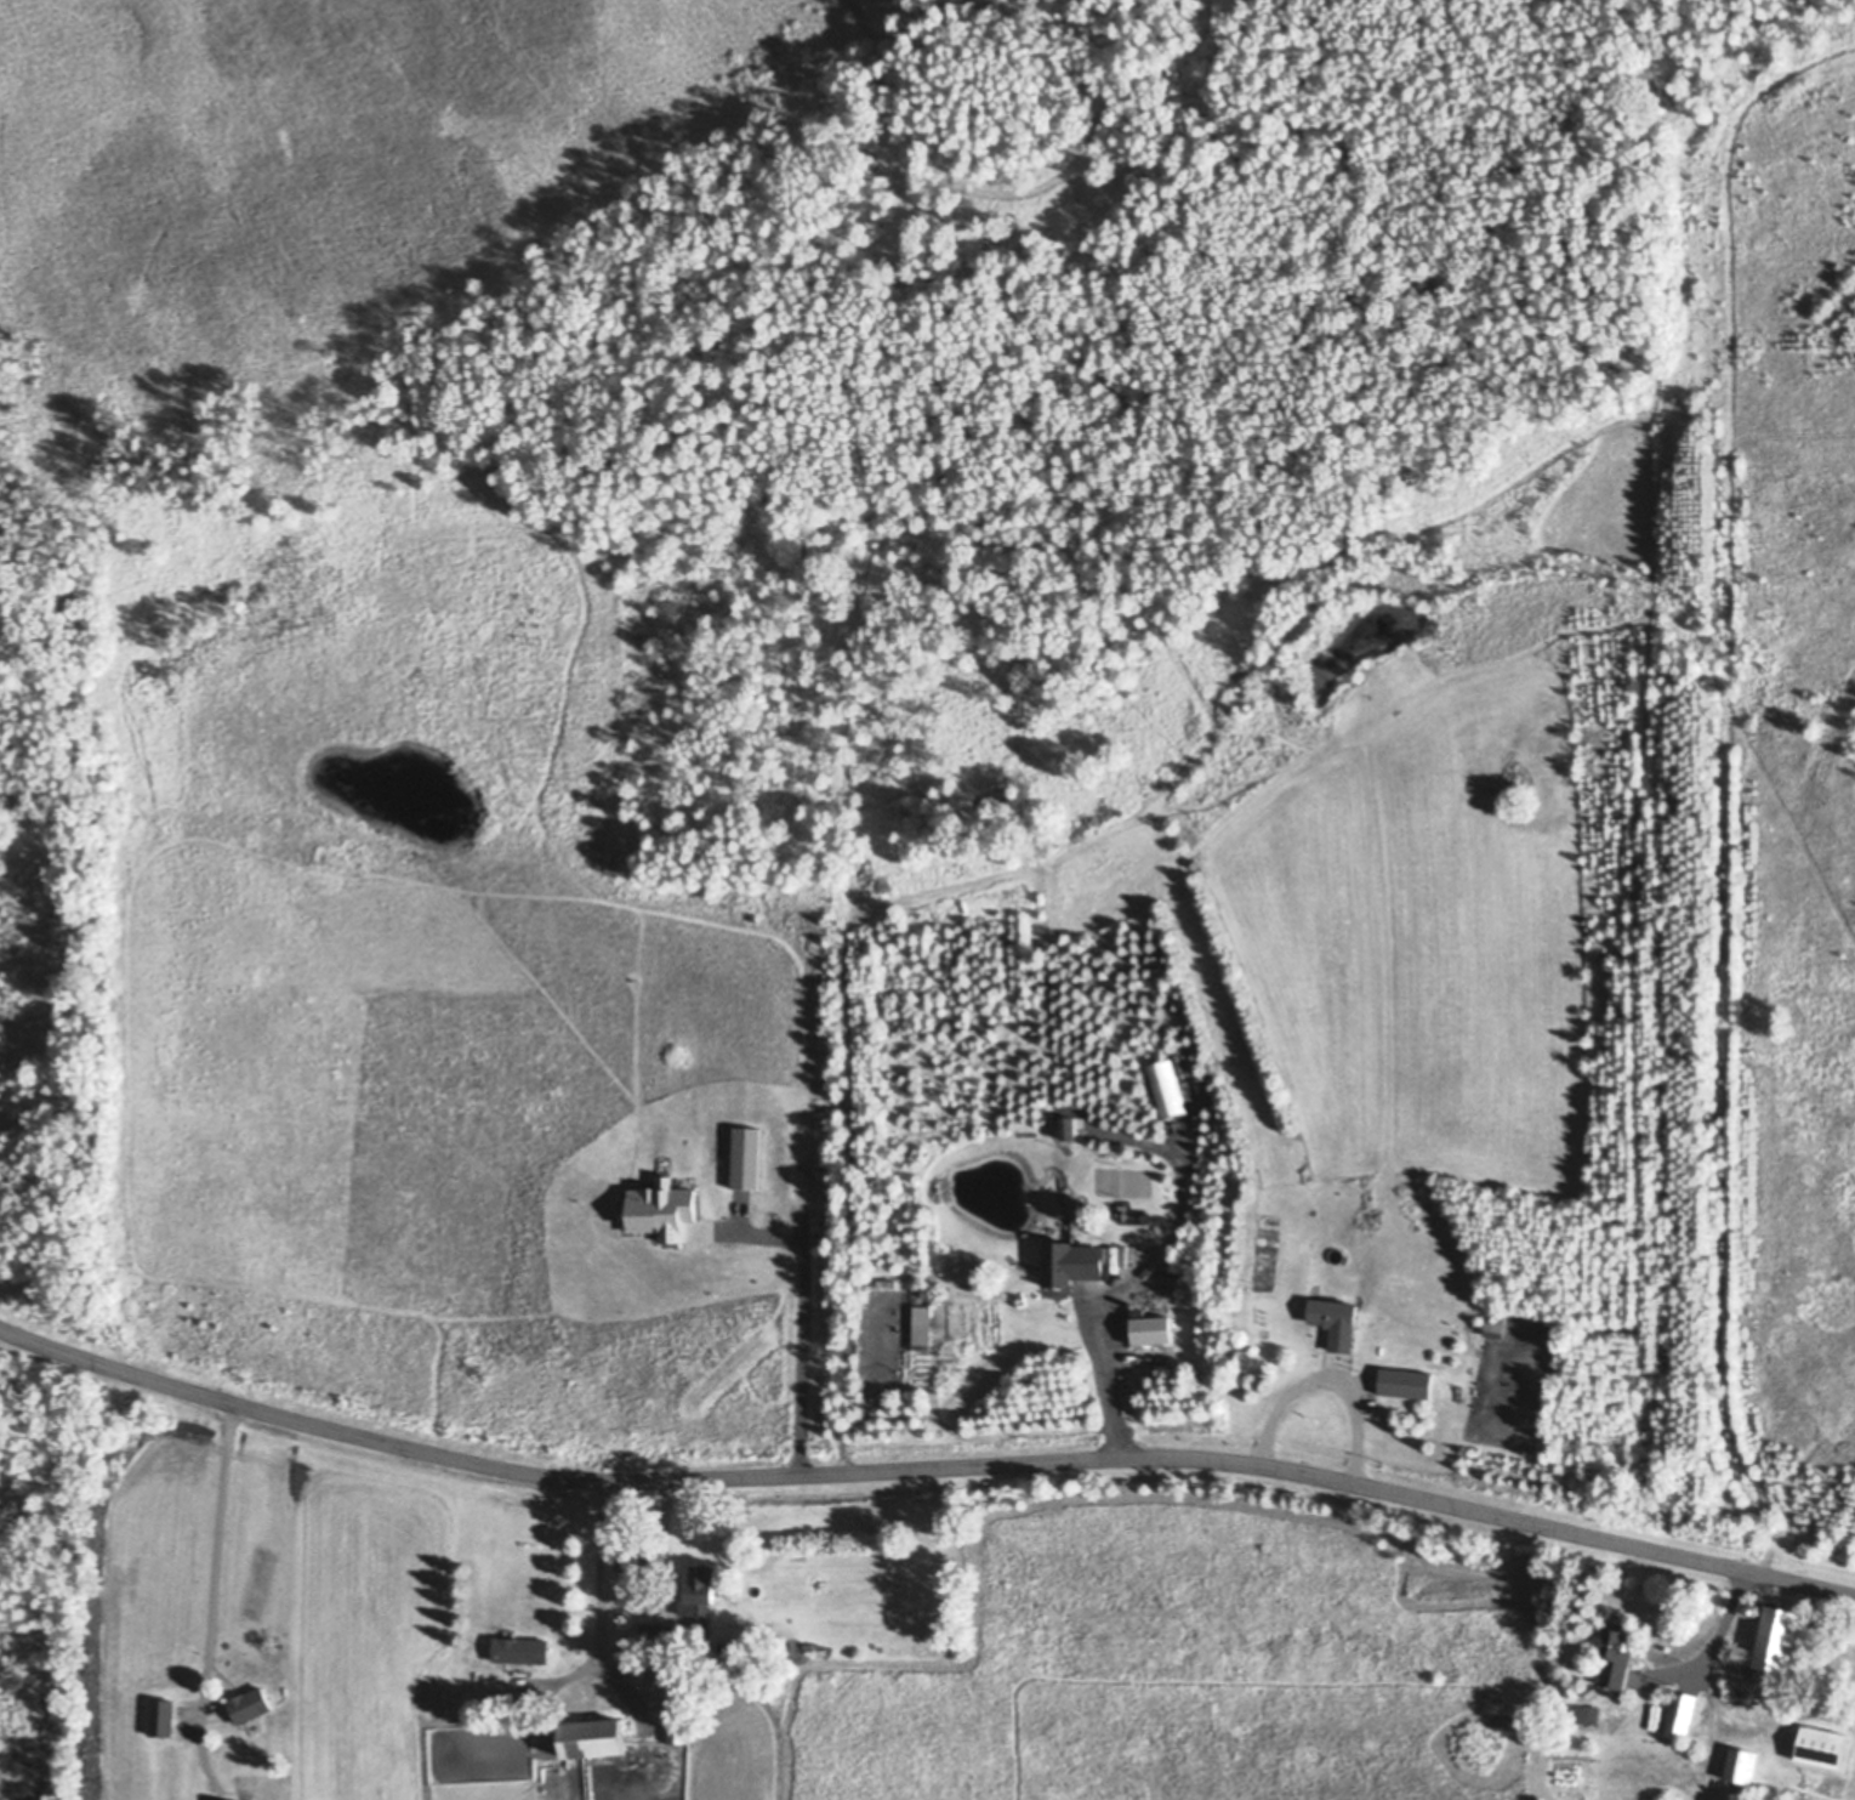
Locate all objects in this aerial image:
building: (707, 1097)
building: (1068, 1134)
building: (1066, 1194)
building: (1068, 1219)
building: (661, 1233)
building: (1055, 1239)
building: (1336, 1254)
building: (1072, 1264)
building: (1059, 1290)
building: (1134, 1306)
building: (1338, 1324)
road: (795, 1325)
building: (1151, 1330)
building: (1493, 1330)
road: (1099, 1374)
road: (1327, 1376)
building: (1405, 1384)
road: (923, 1470)
road: (659, 1546)
building: (627, 1561)
road: (601, 1572)
road: (211, 1595)
building: (700, 1599)
building: (1756, 1609)
road: (1706, 1635)
building: (659, 1636)
building: (1774, 1643)
building: (704, 1645)
building: (522, 1649)
building: (1617, 1654)
building: (1567, 1660)
building: (520, 1666)
building: (1740, 1683)
building: (1583, 1694)
building: (250, 1704)
building: (679, 1713)
building: (1584, 1714)
building: (1682, 1715)
building: (164, 1719)
building: (254, 1725)
building: (597, 1739)
building: (1823, 1747)
building: (1743, 1767)

